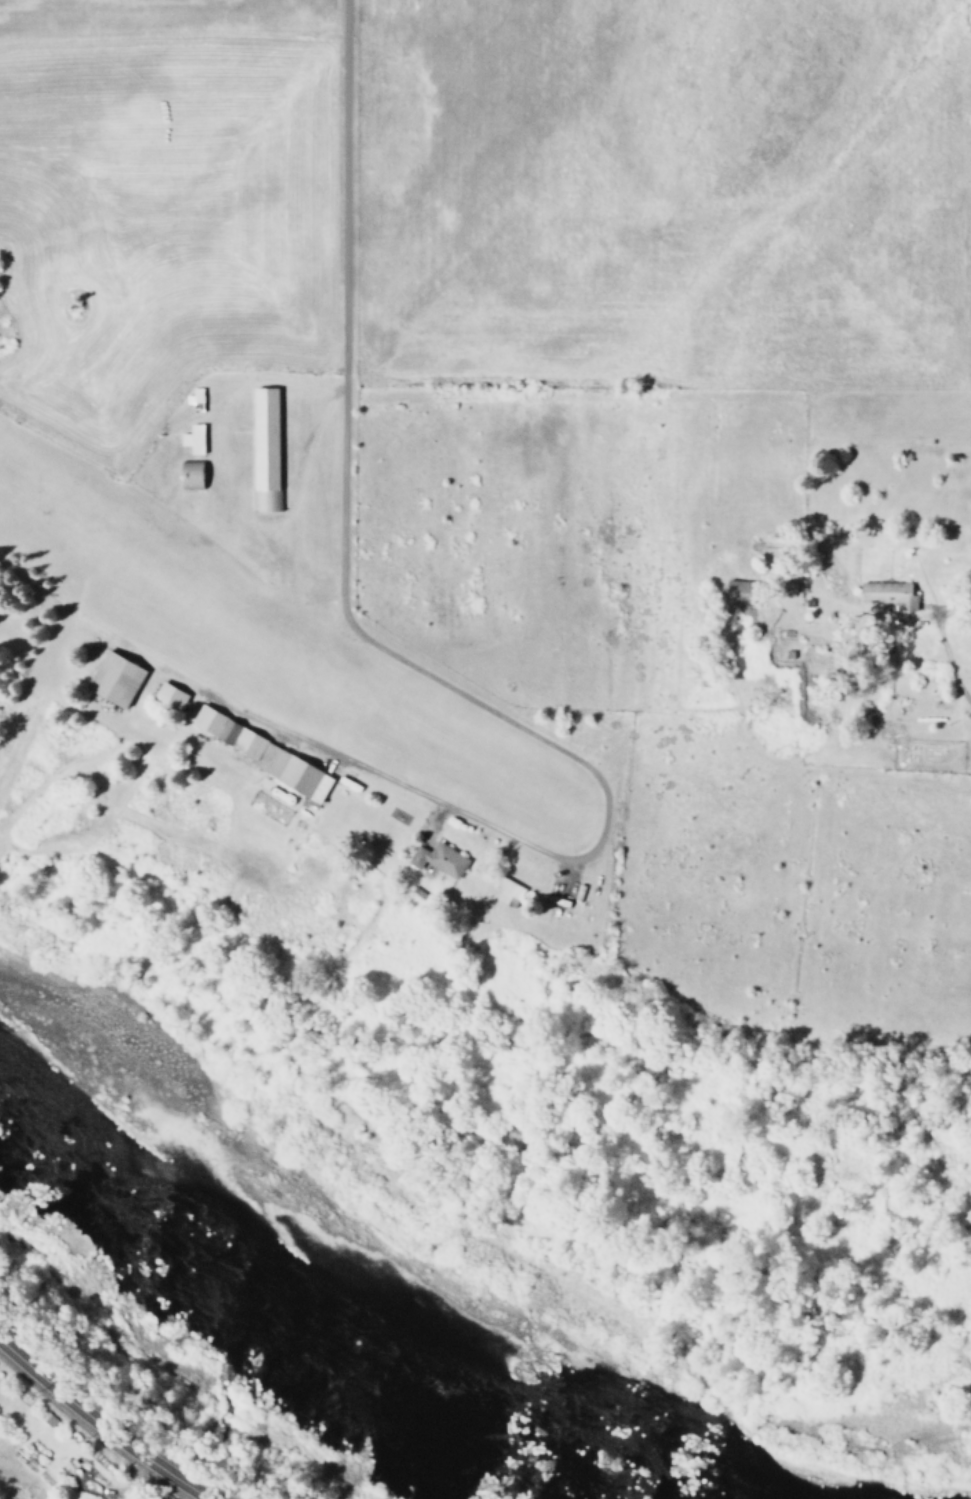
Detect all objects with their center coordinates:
building: (194, 396)
building: (192, 439)
building: (264, 449)
building: (738, 593)
building: (888, 594)
airport runway: (283, 653)
building: (114, 679)
road: (471, 694)
building: (168, 697)
building: (268, 757)
airport: (294, 805)
building: (437, 860)
building: (506, 890)
river: (294, 1328)
road: (102, 1424)

